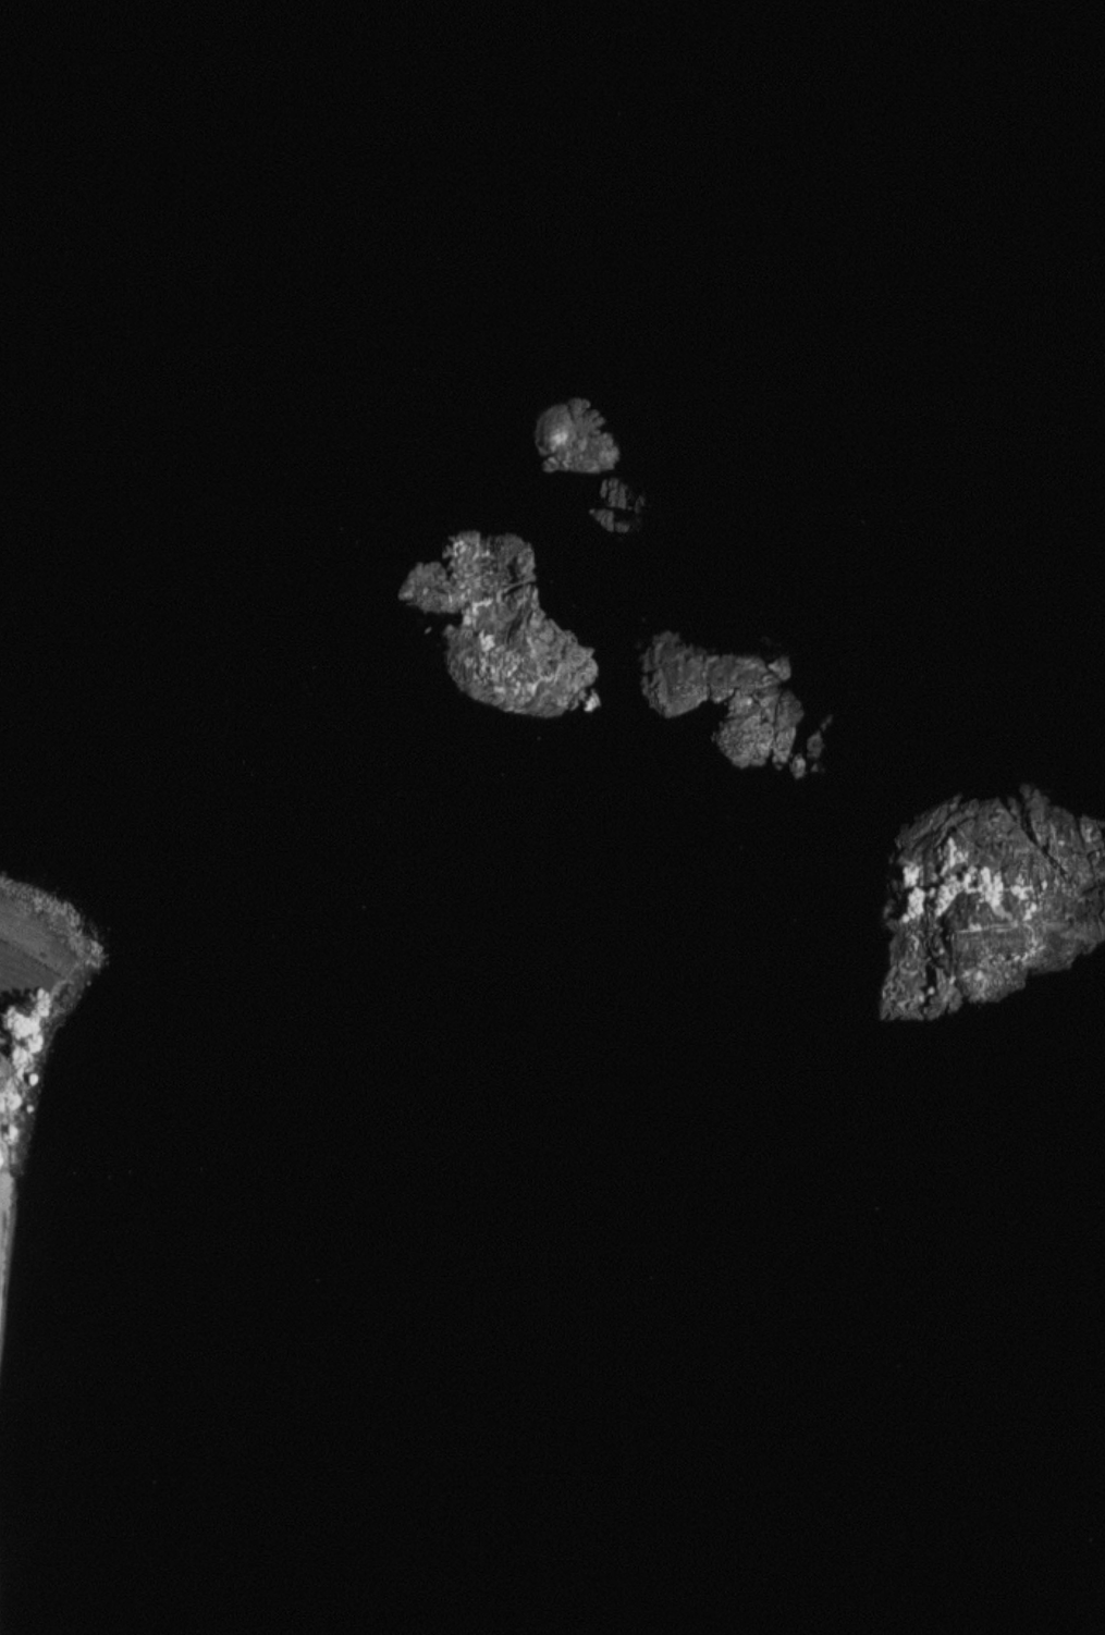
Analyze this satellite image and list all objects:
road: (38, 926)
park: (39, 1156)

